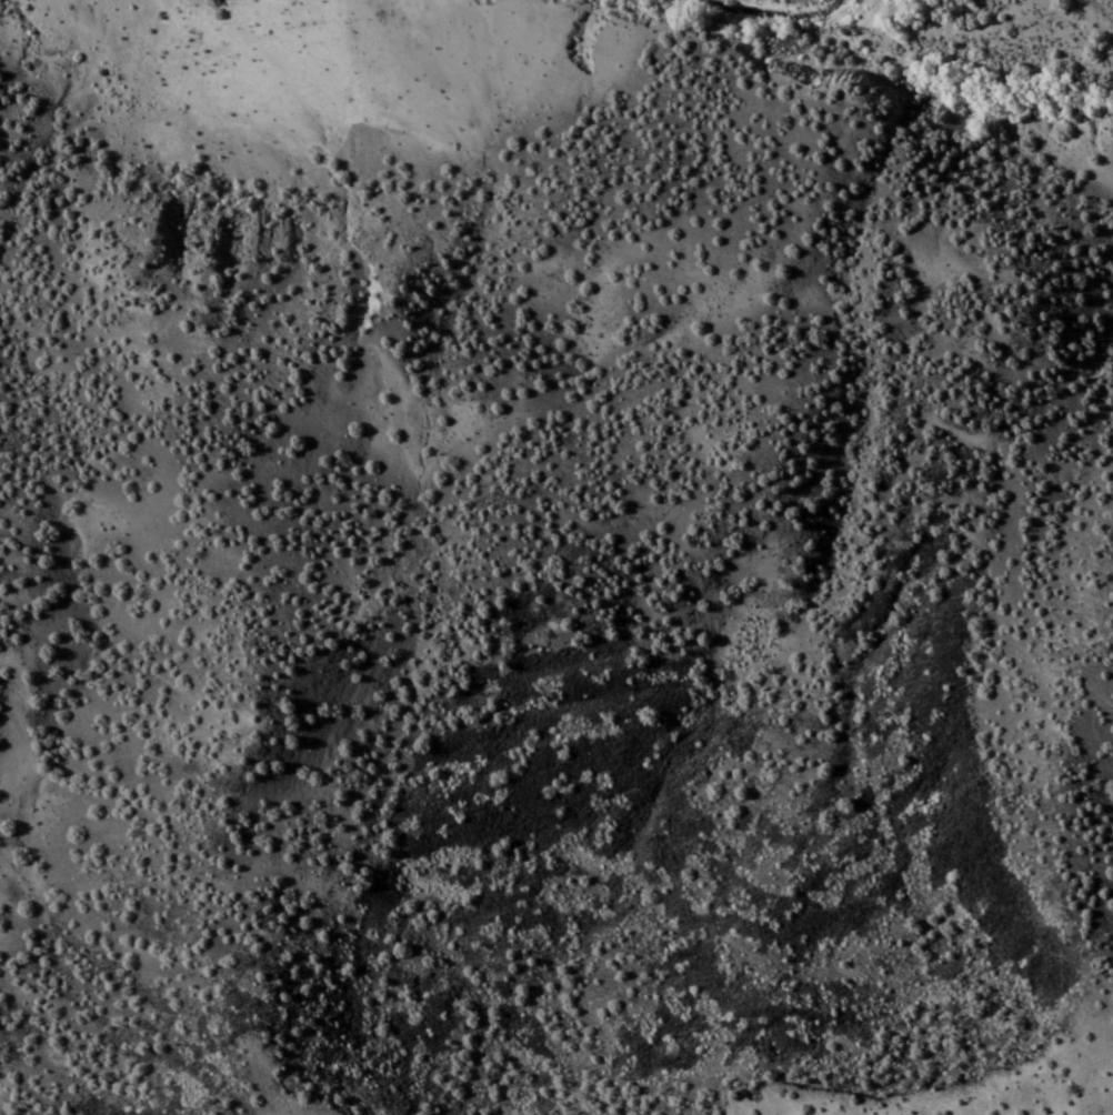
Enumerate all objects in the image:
river: (685, 8)
road: (431, 131)

